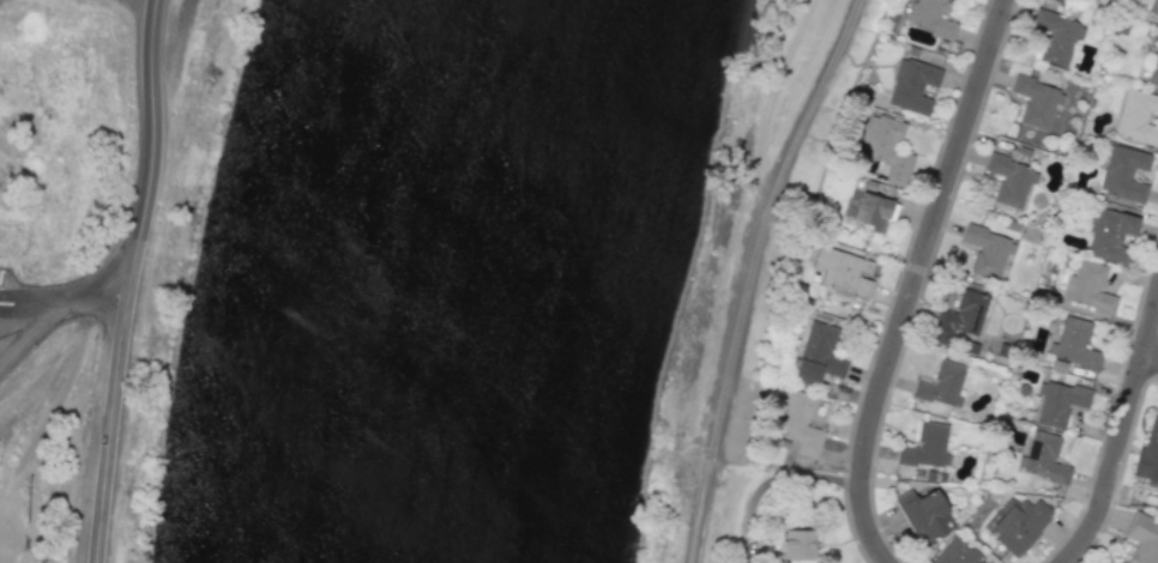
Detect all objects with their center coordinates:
building: (1152, 7)
building: (930, 17)
building: (1057, 37)
building: (1154, 68)
building: (912, 84)
building: (1036, 101)
building: (1136, 116)
building: (887, 147)
building: (1123, 174)
building: (1011, 180)
building: (874, 211)
building: (1110, 235)
building: (988, 250)
building: (843, 271)
road: (748, 273)
river: (440, 278)
road: (127, 280)
road: (915, 281)
building: (1088, 287)
road: (30, 295)
road: (94, 297)
road: (30, 307)
building: (959, 317)
road: (30, 332)
building: (1075, 344)
building: (819, 353)
road: (1151, 355)
building: (941, 385)
building: (1057, 402)
building: (797, 422)
road: (1121, 436)
building: (925, 447)
building: (1148, 454)
building: (1043, 458)
building: (924, 515)
building: (1019, 525)
building: (1142, 538)
building: (798, 544)
building: (958, 553)

